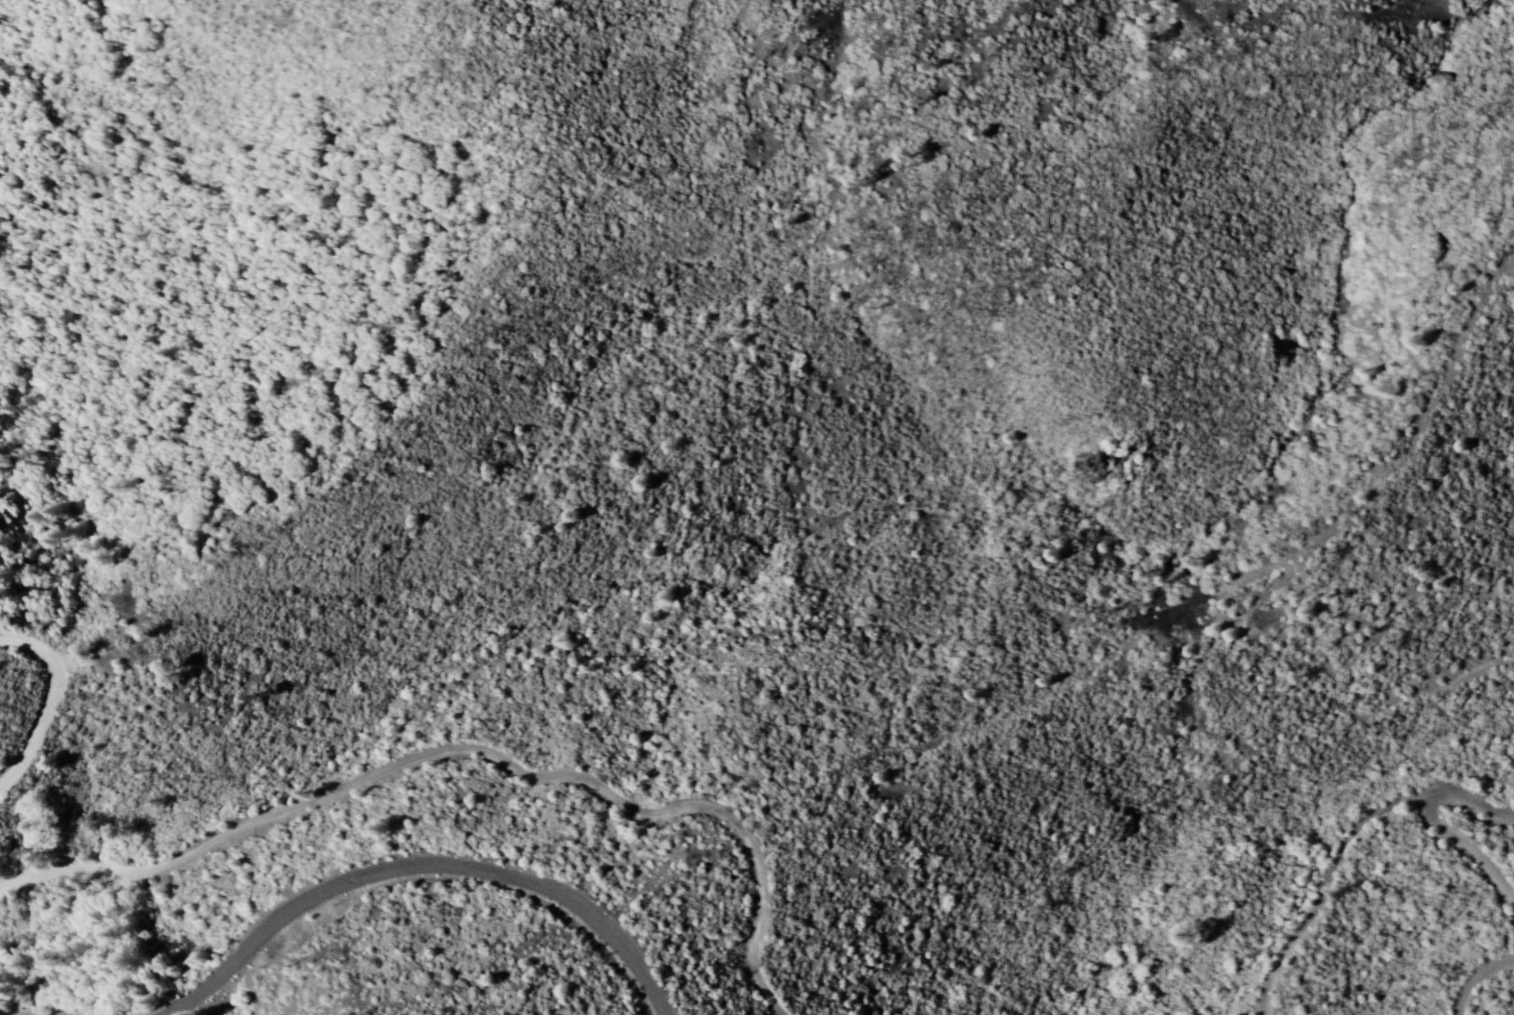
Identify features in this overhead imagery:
road: (55, 706)
road: (466, 751)
road: (1442, 822)
road: (425, 864)
road: (1477, 979)

